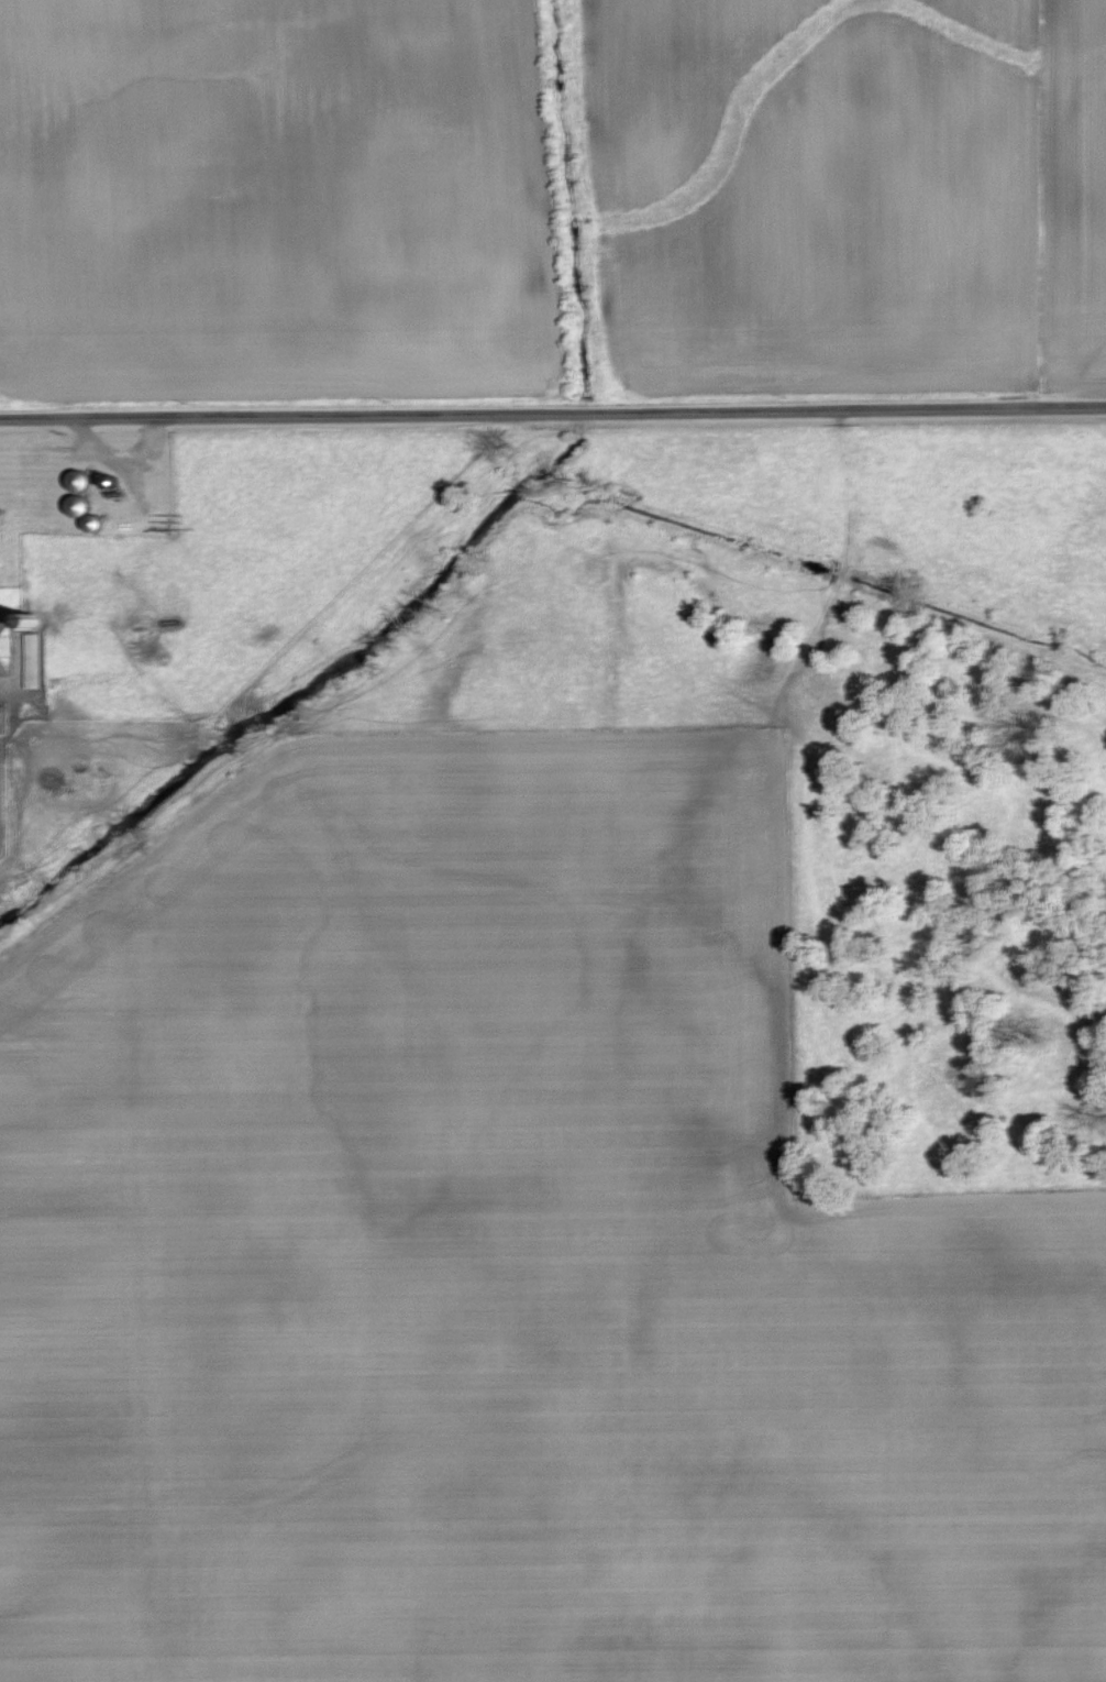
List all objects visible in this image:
road: (553, 408)
building: (8, 649)
building: (35, 660)
building: (8, 722)

